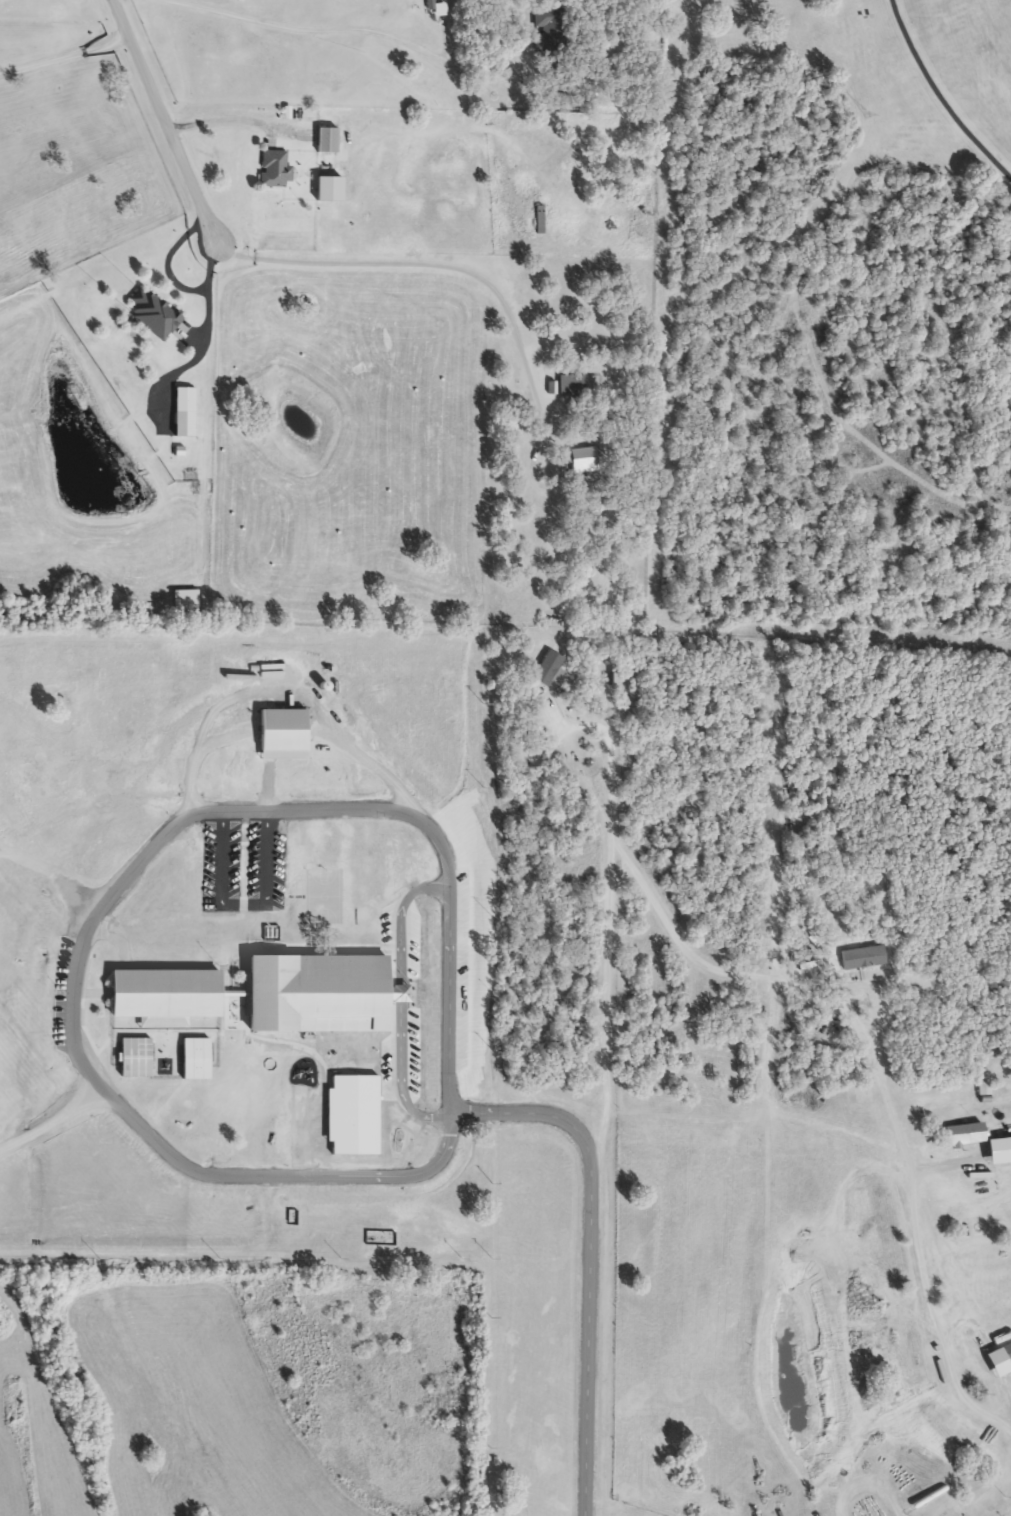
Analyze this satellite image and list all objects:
building: (550, 29)
road: (326, 37)
road: (62, 55)
road: (941, 94)
road: (160, 119)
road: (221, 120)
building: (327, 141)
building: (275, 170)
building: (330, 190)
road: (430, 261)
building: (153, 314)
building: (571, 387)
building: (185, 401)
building: (583, 461)
building: (186, 600)
building: (548, 669)
building: (283, 735)
road: (165, 834)
road: (224, 856)
road: (268, 856)
road: (398, 917)
building: (167, 993)
building: (320, 994)
road: (397, 995)
road: (396, 1079)
road: (606, 1109)
building: (379, 1238)
road: (915, 1250)
building: (993, 1330)
road: (867, 1482)

